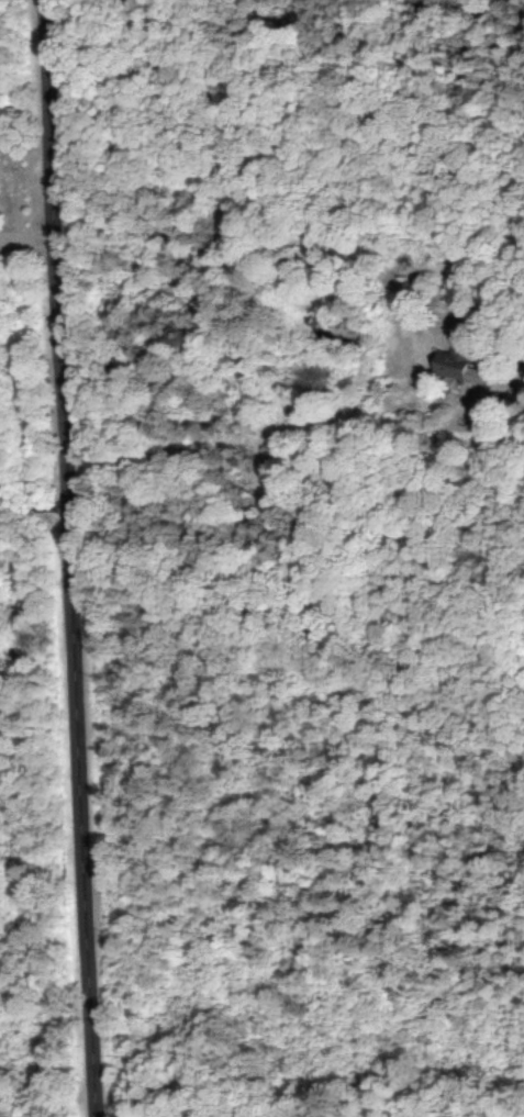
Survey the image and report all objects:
road: (233, 250)
road: (29, 366)
building: (456, 366)
road: (32, 504)
road: (67, 558)

